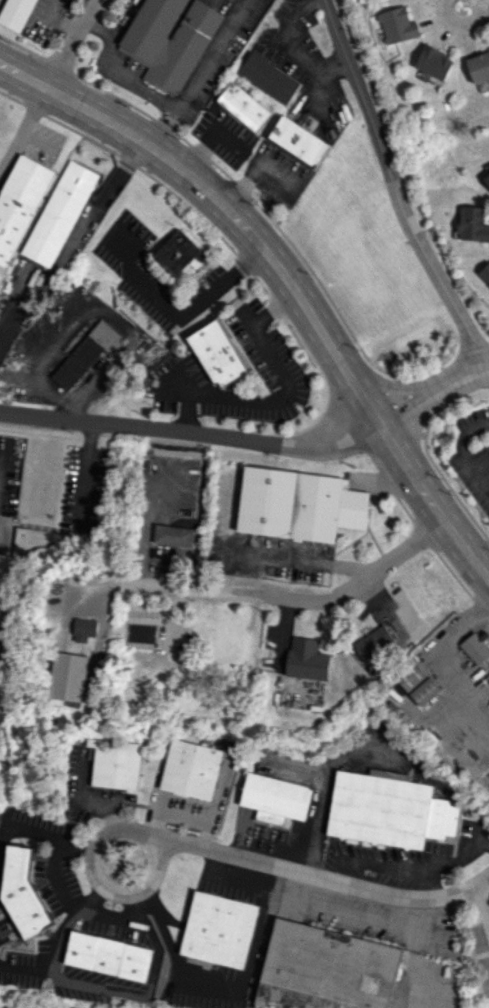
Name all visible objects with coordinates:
building: (16, 13)
road: (463, 24)
building: (397, 25)
building: (170, 40)
road: (71, 42)
road: (212, 54)
building: (434, 62)
building: (479, 67)
building: (269, 78)
road: (136, 82)
building: (243, 107)
road: (22, 123)
building: (298, 139)
road: (251, 171)
building: (487, 179)
building: (110, 187)
road: (395, 188)
building: (19, 201)
building: (58, 213)
building: (473, 223)
building: (179, 252)
road: (60, 259)
building: (485, 272)
road: (285, 274)
road: (180, 313)
building: (85, 353)
building: (217, 353)
road: (388, 385)
road: (432, 393)
road: (282, 395)
road: (416, 431)
road: (190, 433)
road: (466, 449)
parking lot: (473, 450)
building: (298, 505)
building: (173, 535)
road: (283, 557)
building: (1, 570)
road: (149, 583)
road: (351, 584)
building: (83, 629)
building: (374, 641)
building: (475, 646)
building: (306, 659)
building: (68, 676)
building: (417, 683)
road: (369, 737)
building: (115, 763)
building: (191, 768)
building: (275, 794)
building: (378, 809)
road: (42, 835)
road: (445, 861)
road: (374, 864)
road: (54, 877)
road: (95, 877)
road: (328, 878)
building: (22, 893)
road: (113, 914)
building: (218, 927)
road: (55, 939)
building: (108, 956)
building: (331, 964)
road: (142, 990)

